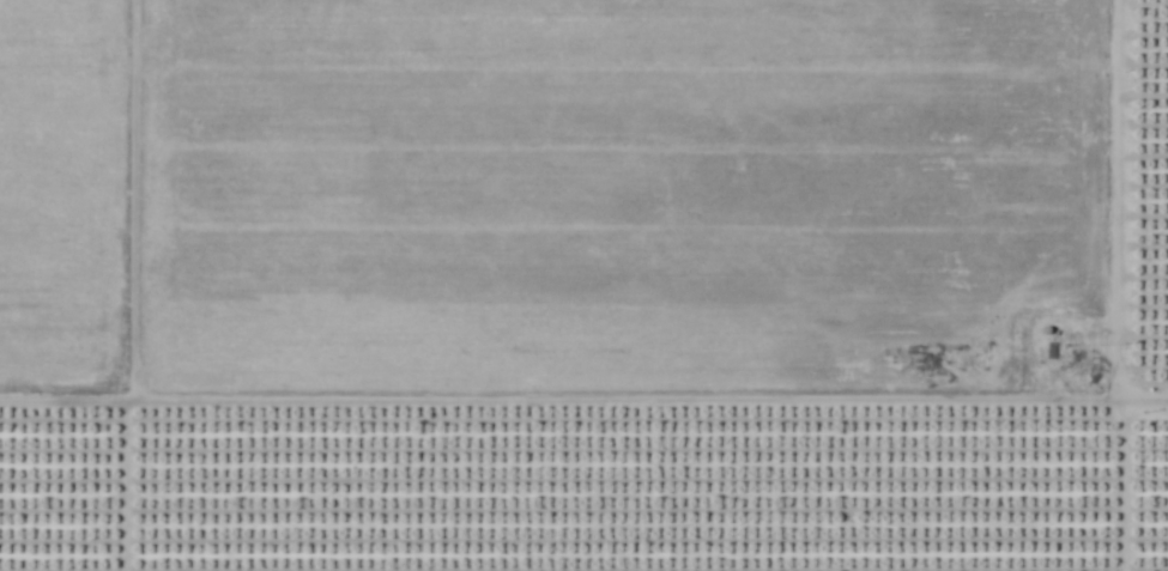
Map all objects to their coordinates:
road: (131, 204)
road: (1113, 285)
road: (583, 407)
road: (117, 488)

